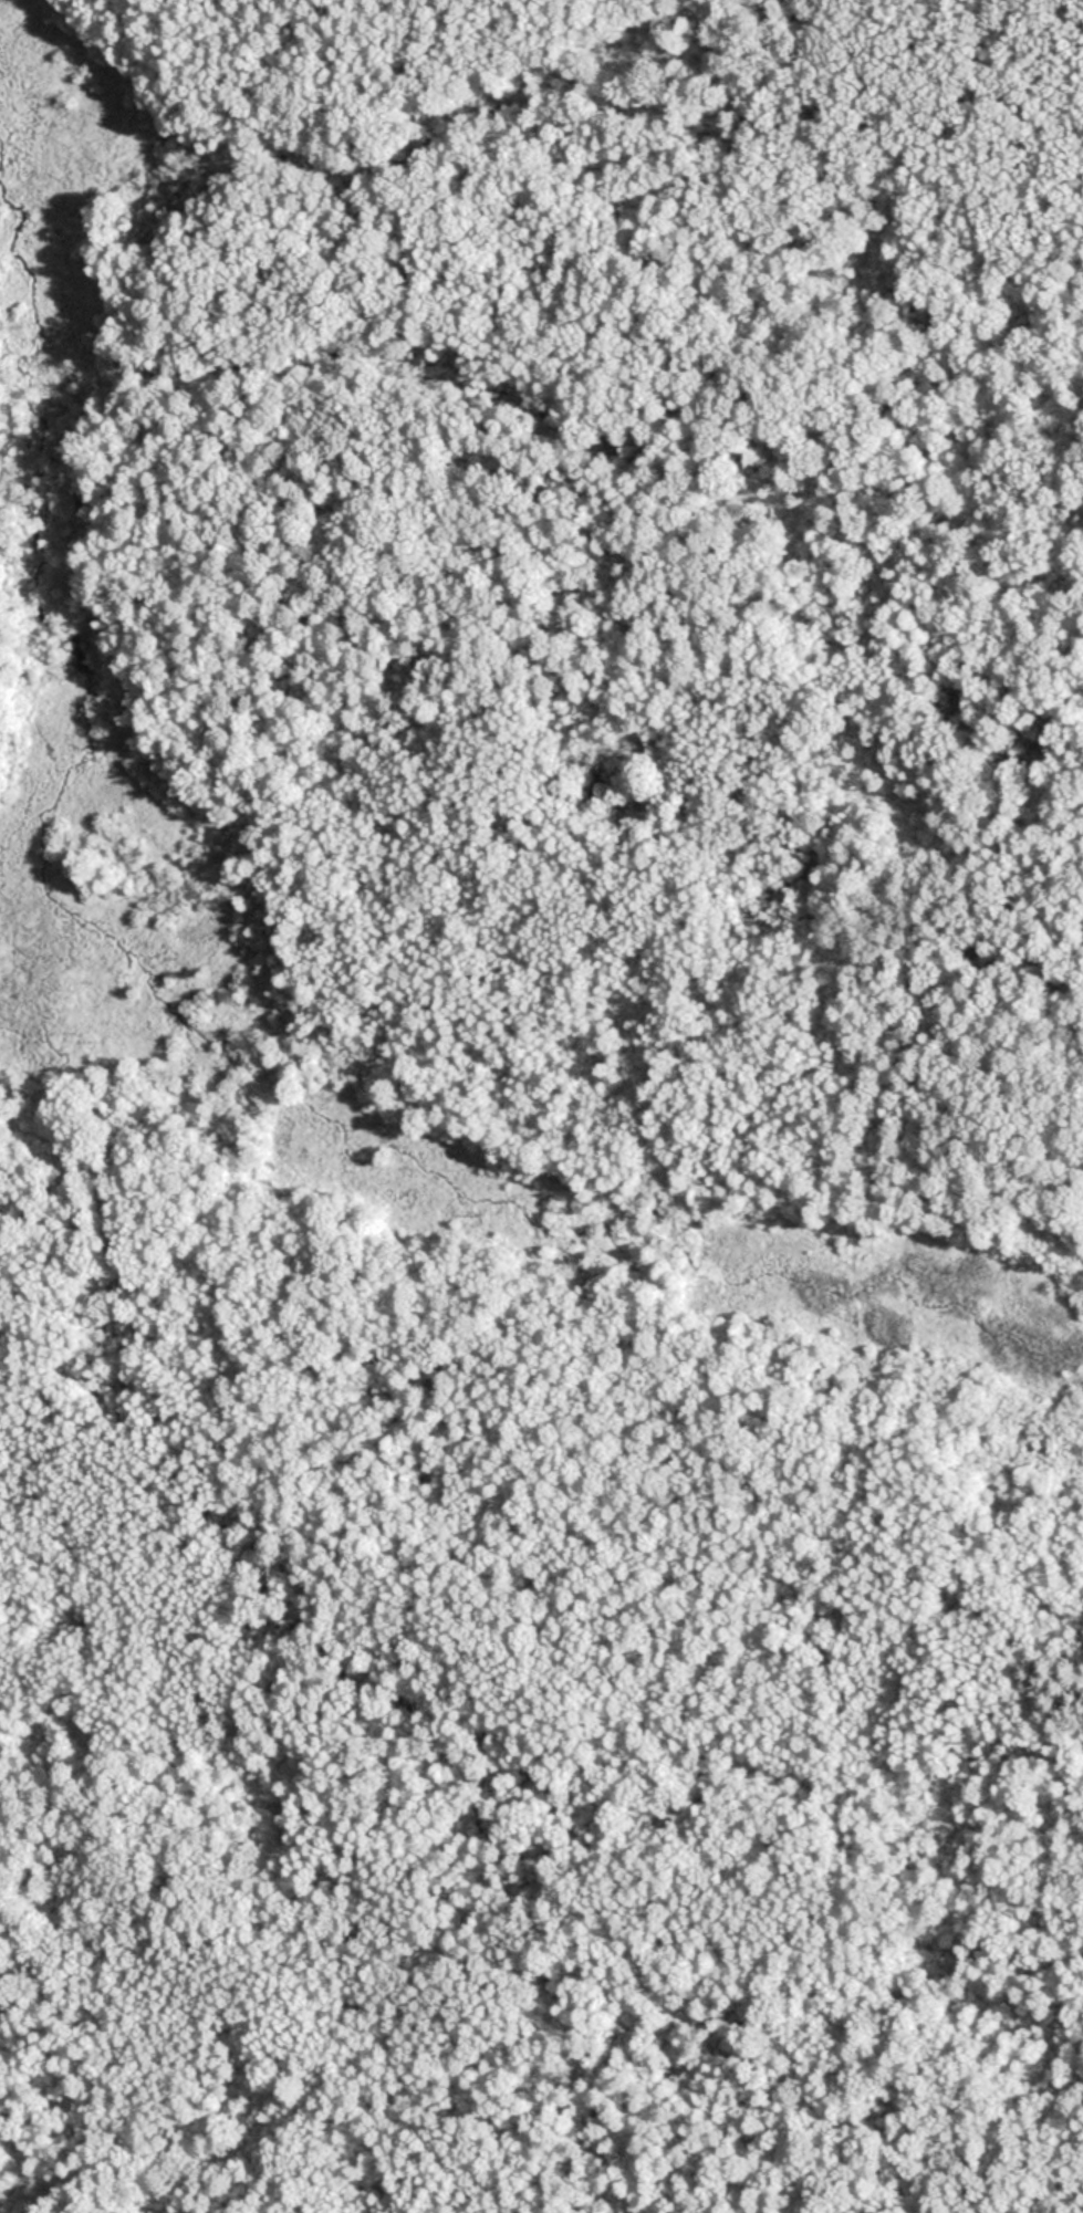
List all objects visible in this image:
park: (550, 938)

